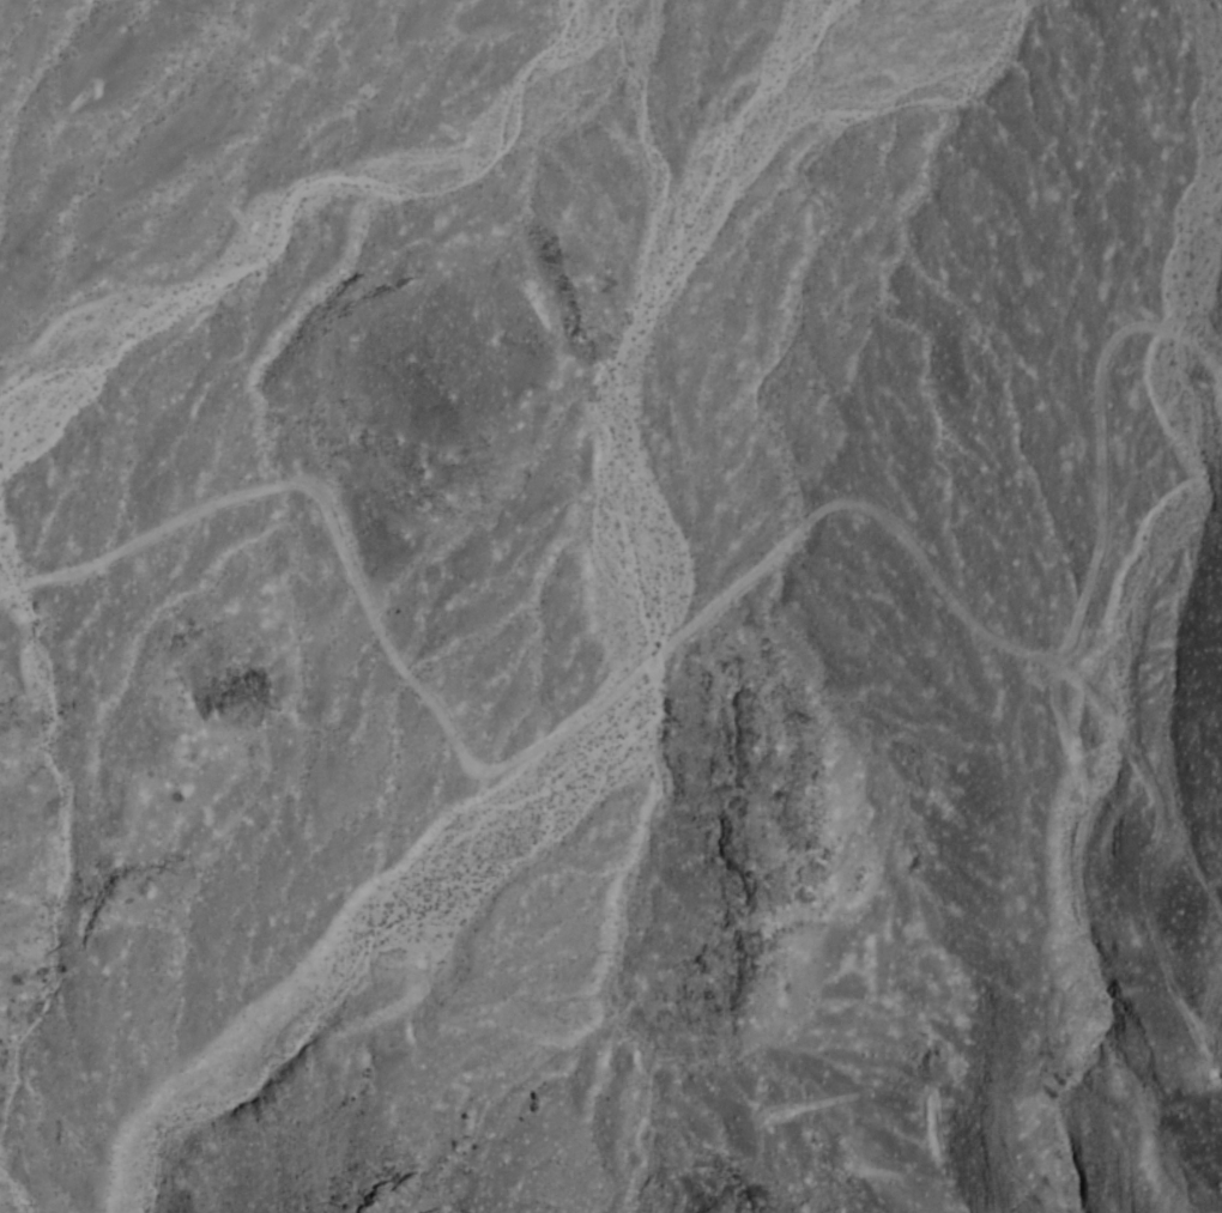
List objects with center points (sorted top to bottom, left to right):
road: (1106, 490)
road: (549, 750)
road: (1150, 896)

